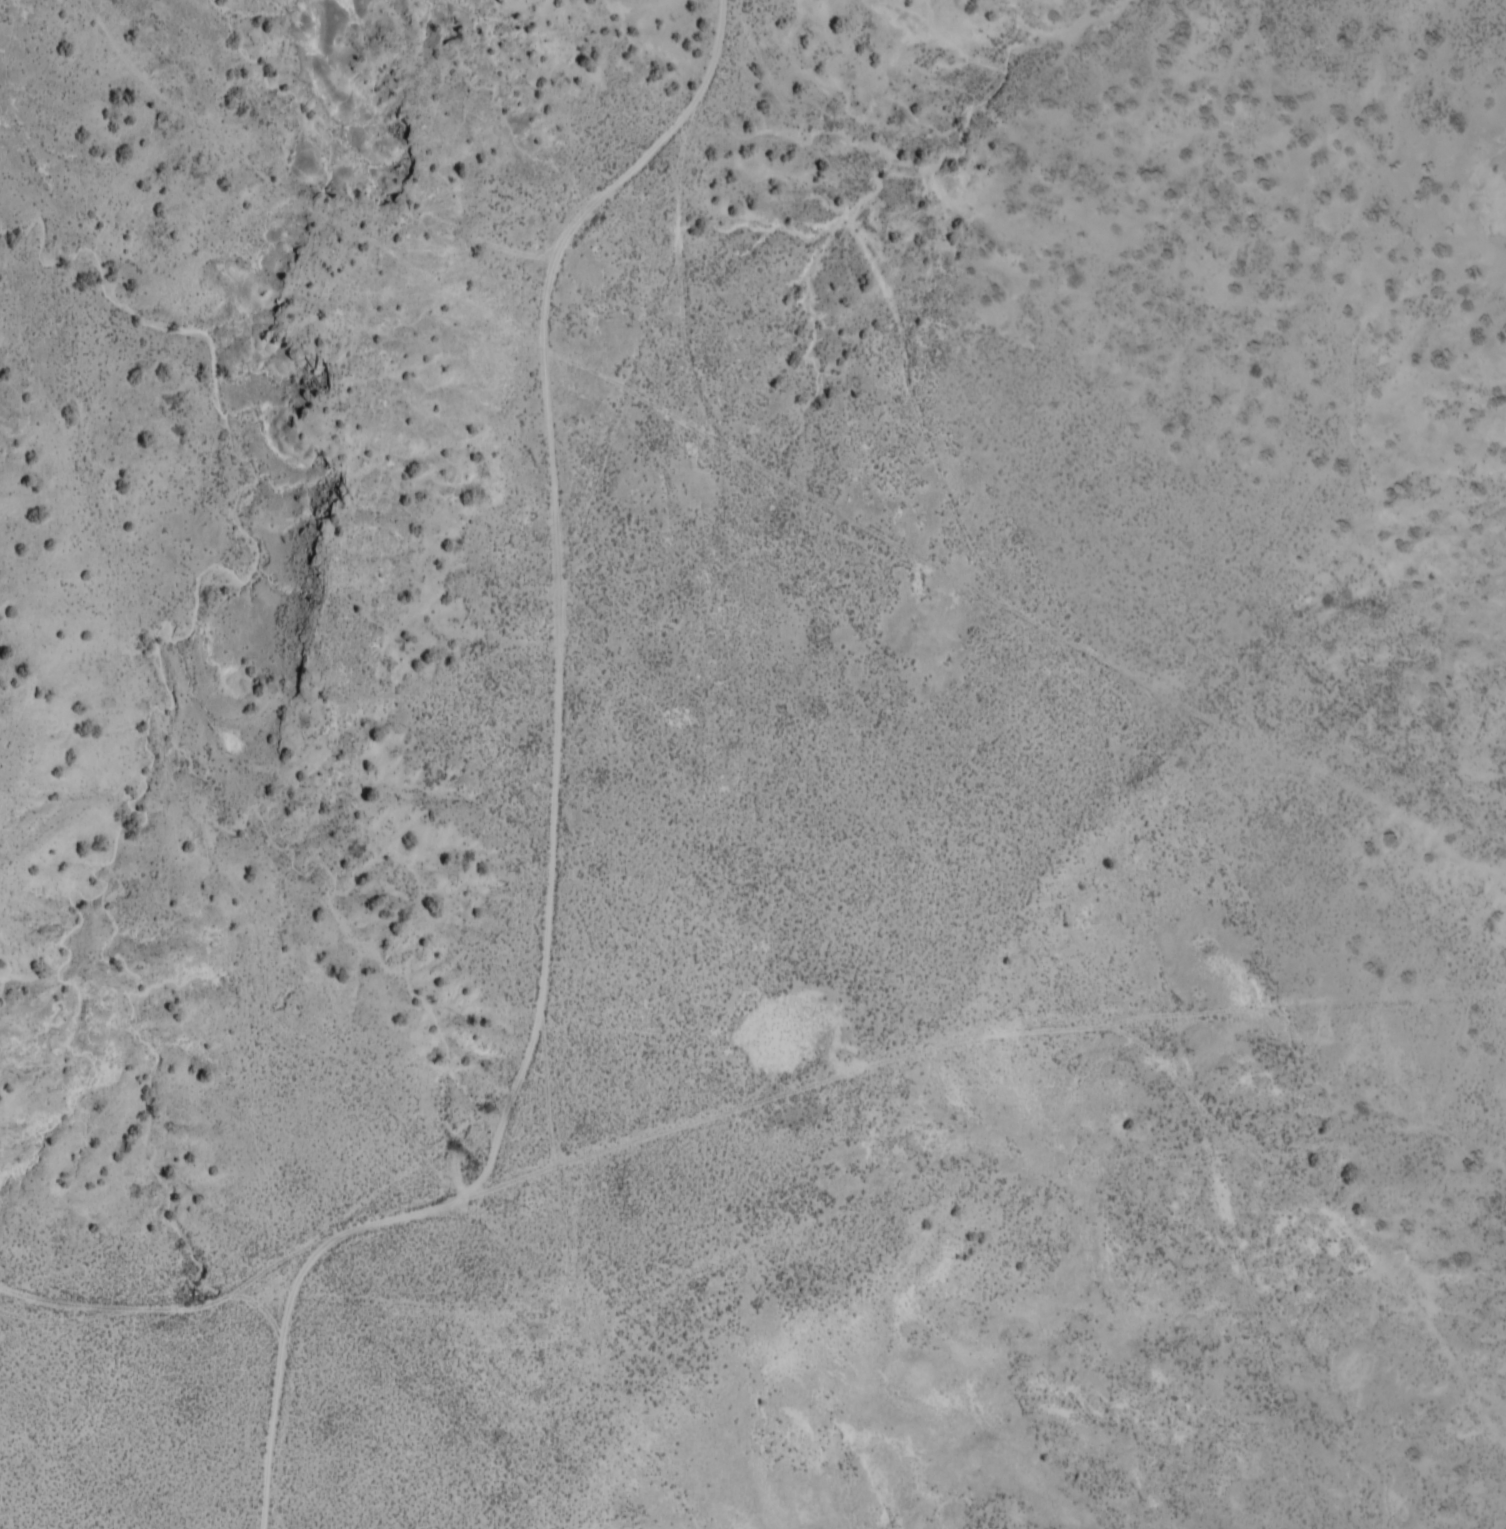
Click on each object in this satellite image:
road: (858, 530)
road: (553, 617)
road: (1338, 1011)
road: (991, 1038)
road: (403, 1220)
road: (1328, 1232)
road: (171, 1303)
road: (272, 1375)

